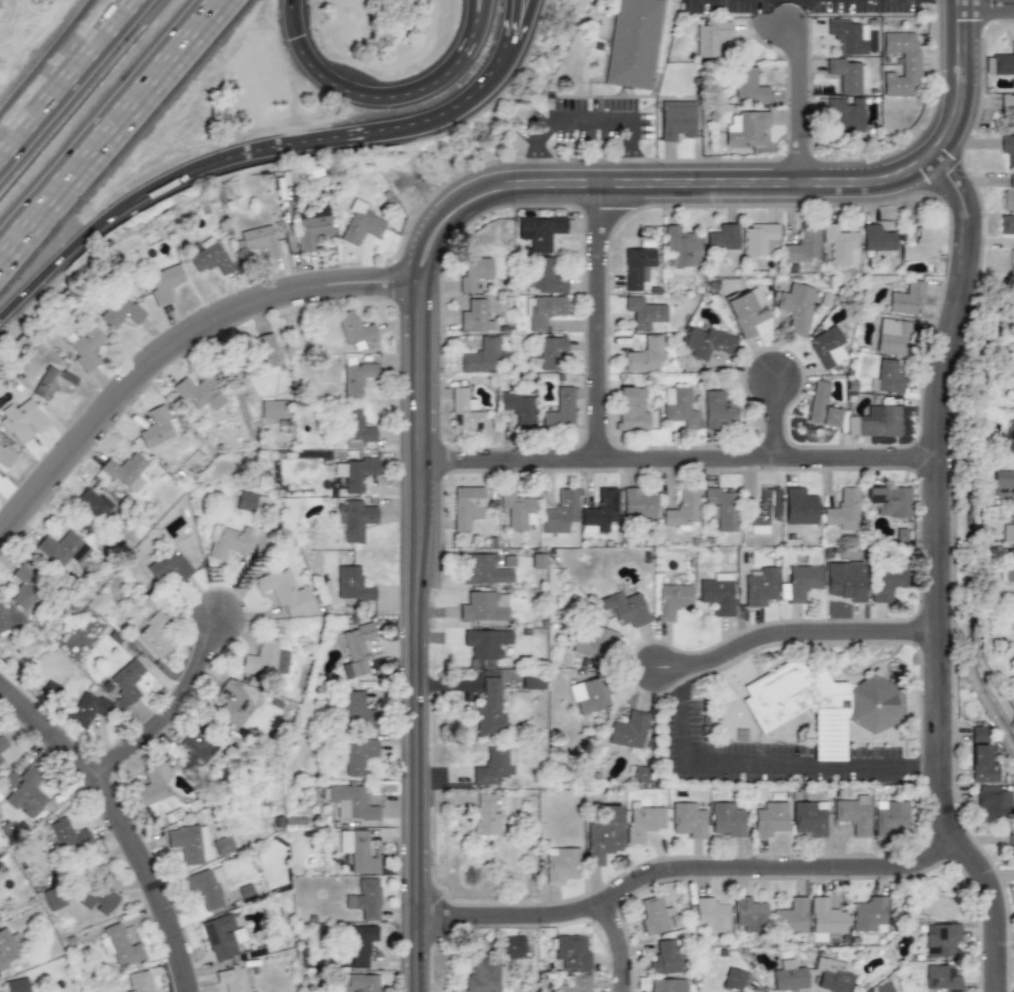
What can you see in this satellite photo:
road: (990, 8)
road: (477, 16)
road: (508, 28)
road: (518, 28)
building: (846, 36)
building: (710, 37)
building: (632, 43)
building: (902, 62)
building: (1004, 63)
road: (50, 66)
road: (62, 74)
building: (847, 74)
building: (748, 85)
road: (965, 88)
road: (383, 101)
building: (1008, 103)
road: (808, 107)
road: (592, 113)
building: (847, 113)
building: (676, 119)
building: (748, 129)
road: (378, 131)
road: (113, 133)
building: (1008, 146)
road: (535, 165)
road: (634, 167)
road: (773, 192)
building: (1008, 195)
building: (360, 223)
road: (102, 225)
building: (1007, 226)
building: (311, 231)
building: (539, 232)
building: (723, 237)
building: (759, 238)
building: (877, 238)
building: (260, 239)
building: (803, 244)
building: (919, 244)
building: (841, 245)
building: (680, 247)
building: (211, 257)
building: (638, 266)
building: (473, 272)
building: (543, 275)
building: (164, 283)
building: (905, 298)
building: (796, 306)
building: (544, 310)
building: (121, 312)
building: (644, 312)
building: (745, 313)
building: (475, 316)
building: (355, 329)
road: (607, 332)
building: (893, 336)
building: (707, 342)
building: (84, 347)
building: (828, 347)
building: (551, 351)
road: (179, 353)
building: (264, 354)
building: (645, 354)
building: (480, 356)
building: (886, 376)
building: (355, 377)
building: (53, 382)
building: (1009, 391)
building: (199, 392)
building: (822, 404)
building: (630, 405)
building: (678, 406)
building: (519, 407)
building: (559, 407)
building: (274, 409)
building: (463, 409)
building: (717, 409)
building: (23, 421)
building: (875, 421)
road: (775, 424)
building: (156, 426)
building: (357, 426)
building: (1010, 436)
building: (6, 456)
road: (686, 468)
building: (125, 470)
building: (358, 474)
building: (1003, 481)
building: (889, 500)
building: (244, 501)
building: (99, 502)
building: (637, 505)
building: (466, 506)
building: (721, 506)
building: (799, 506)
building: (681, 509)
building: (844, 509)
building: (515, 510)
building: (560, 511)
building: (599, 511)
building: (762, 511)
building: (356, 519)
road: (427, 528)
building: (1008, 529)
building: (230, 541)
building: (61, 547)
building: (536, 560)
building: (170, 566)
building: (1006, 566)
building: (484, 569)
building: (846, 580)
building: (801, 582)
building: (886, 582)
road: (945, 582)
building: (352, 583)
building: (759, 585)
building: (26, 588)
building: (288, 593)
building: (718, 594)
building: (673, 599)
building: (1012, 604)
building: (483, 606)
building: (626, 607)
building: (9, 619)
road: (797, 631)
building: (154, 634)
building: (595, 641)
building: (484, 644)
building: (357, 648)
building: (266, 659)
building: (125, 681)
building: (531, 681)
building: (590, 694)
building: (233, 703)
building: (822, 704)
building: (487, 708)
building: (85, 709)
building: (355, 710)
road: (178, 716)
building: (628, 729)
building: (198, 743)
building: (2, 746)
building: (357, 755)
building: (981, 756)
building: (495, 764)
road: (767, 766)
road: (931, 768)
building: (639, 773)
building: (152, 785)
building: (25, 788)
building: (349, 801)
building: (994, 803)
building: (852, 813)
building: (484, 814)
building: (891, 816)
building: (809, 817)
building: (769, 818)
building: (644, 819)
building: (687, 819)
building: (725, 820)
road: (123, 824)
building: (69, 834)
building: (604, 835)
building: (1010, 841)
building: (189, 842)
building: (224, 844)
building: (358, 852)
building: (562, 865)
road: (693, 877)
building: (206, 885)
building: (100, 893)
building: (53, 898)
building: (365, 898)
building: (936, 903)
building: (656, 914)
building: (712, 914)
building: (748, 914)
building: (870, 914)
building: (791, 916)
building: (827, 916)
building: (222, 935)
building: (941, 940)
building: (362, 943)
building: (120, 945)
building: (511, 946)
building: (9, 948)
road: (625, 948)
building: (571, 950)
building: (666, 957)
building: (833, 974)
building: (485, 976)
building: (232, 978)
building: (733, 978)
building: (789, 978)
building: (942, 978)
building: (138, 981)
building: (746, 981)
building: (362, 982)
building: (577, 983)
building: (14, 985)
building: (668, 985)
building: (884, 987)

